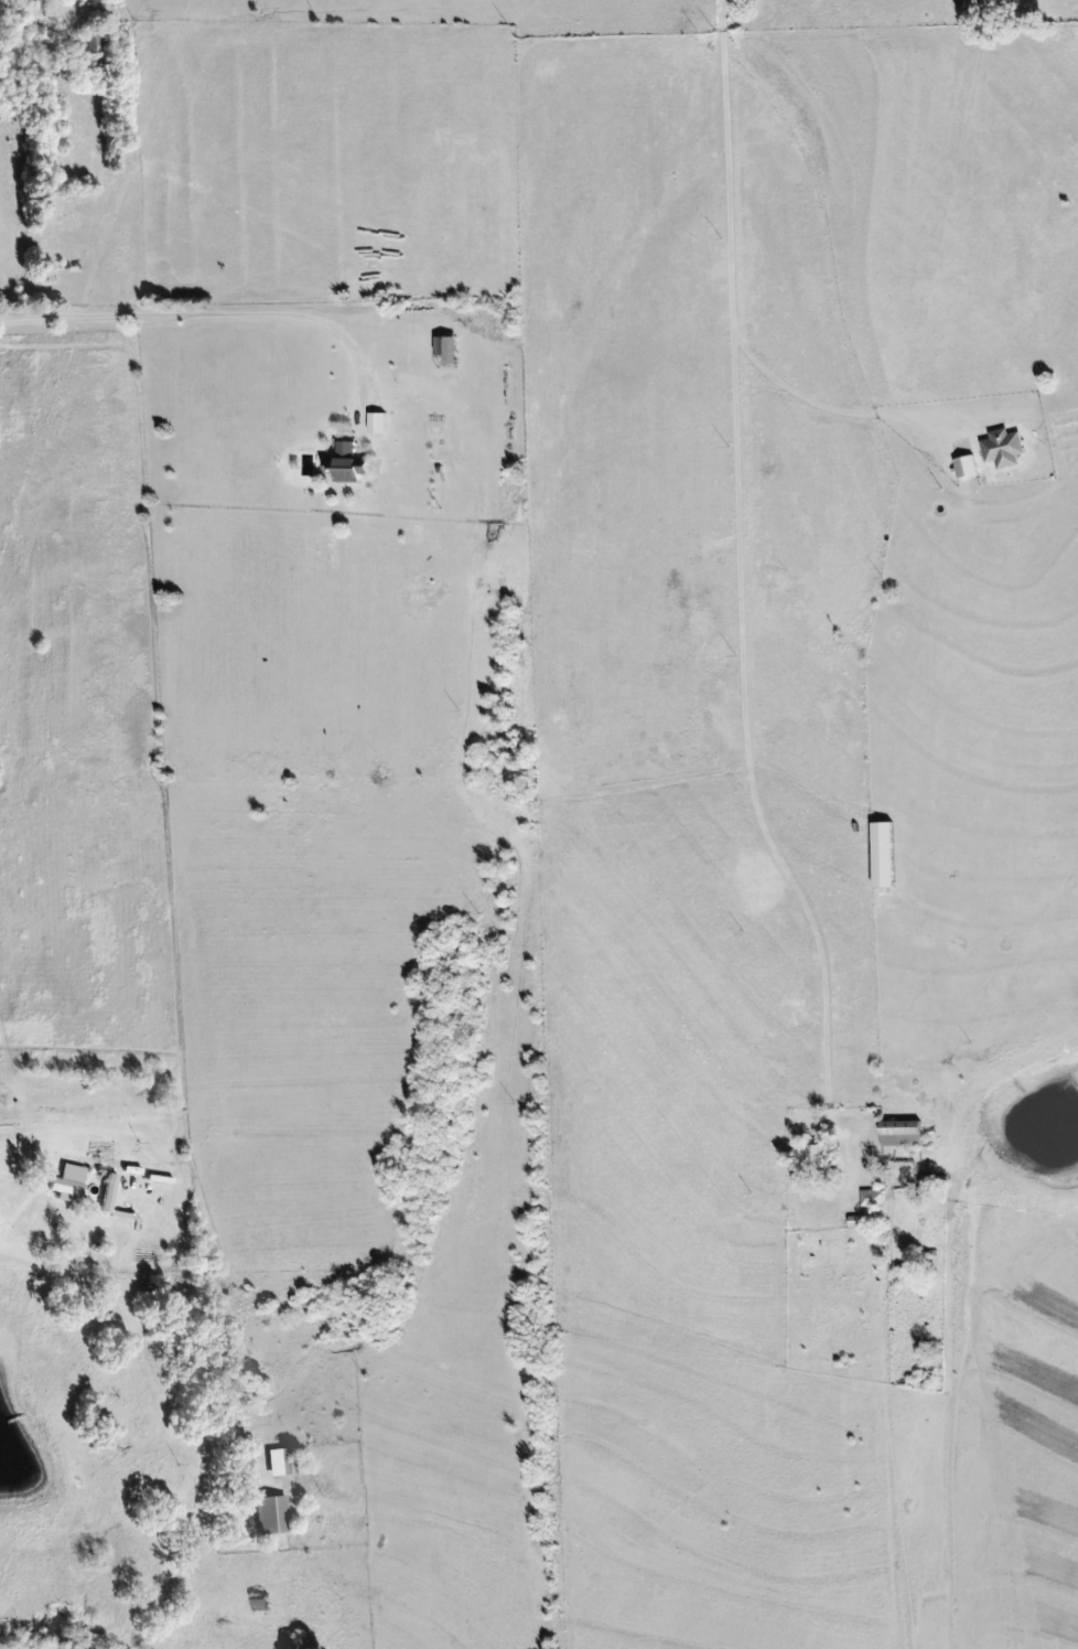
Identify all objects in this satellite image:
building: (90, 47)
road: (64, 307)
building: (451, 349)
building: (1006, 448)
building: (349, 463)
road: (735, 467)
building: (970, 467)
building: (888, 855)
road: (821, 943)
building: (906, 1133)
building: (71, 1181)
building: (875, 1198)
road: (122, 1256)
building: (282, 1463)
building: (273, 1514)

